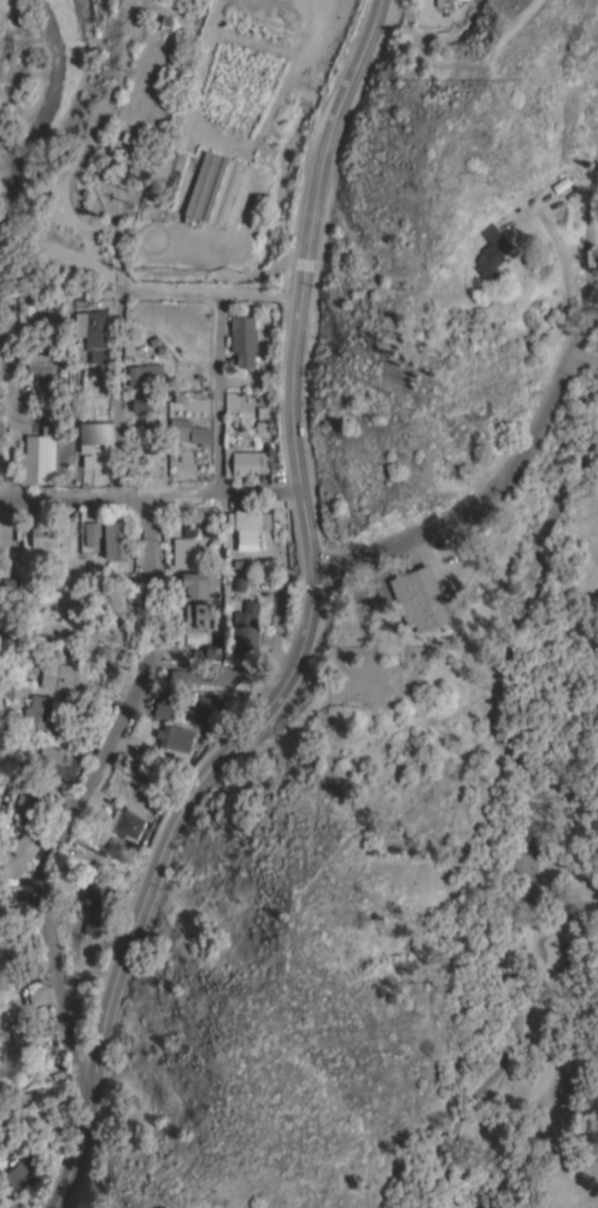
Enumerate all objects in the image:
road: (209, 25)
building: (590, 110)
building: (211, 113)
road: (12, 162)
building: (563, 186)
building: (221, 192)
road: (113, 231)
building: (492, 252)
road: (561, 276)
road: (304, 280)
building: (92, 332)
building: (245, 339)
road: (581, 358)
building: (40, 362)
building: (146, 376)
road: (119, 394)
road: (221, 397)
building: (141, 403)
road: (6, 420)
road: (84, 420)
building: (95, 432)
building: (189, 432)
building: (41, 456)
building: (245, 462)
road: (497, 480)
road: (225, 495)
road: (75, 500)
building: (247, 524)
building: (92, 533)
building: (43, 536)
building: (116, 541)
building: (186, 544)
building: (468, 549)
flagpole: (395, 555)
building: (197, 585)
road: (315, 588)
building: (110, 591)
building: (418, 598)
building: (199, 616)
road: (521, 620)
building: (246, 627)
building: (121, 629)
road: (276, 634)
building: (209, 652)
building: (225, 675)
building: (63, 676)
building: (183, 680)
road: (494, 697)
building: (163, 710)
building: (206, 710)
building: (45, 714)
building: (175, 738)
road: (272, 738)
park: (464, 762)
building: (59, 763)
road: (205, 773)
road: (84, 805)
building: (24, 811)
road: (517, 817)
building: (129, 825)
building: (116, 850)
building: (14, 856)
road: (514, 891)
building: (90, 902)
road: (521, 914)
road: (591, 921)
building: (93, 926)
building: (18, 927)
building: (39, 996)
building: (18, 1034)
road: (515, 1040)
road: (528, 1040)
road: (481, 1081)
building: (35, 1097)
road: (86, 1101)
building: (29, 1151)
building: (19, 1178)
road: (428, 1191)
road: (580, 1201)

